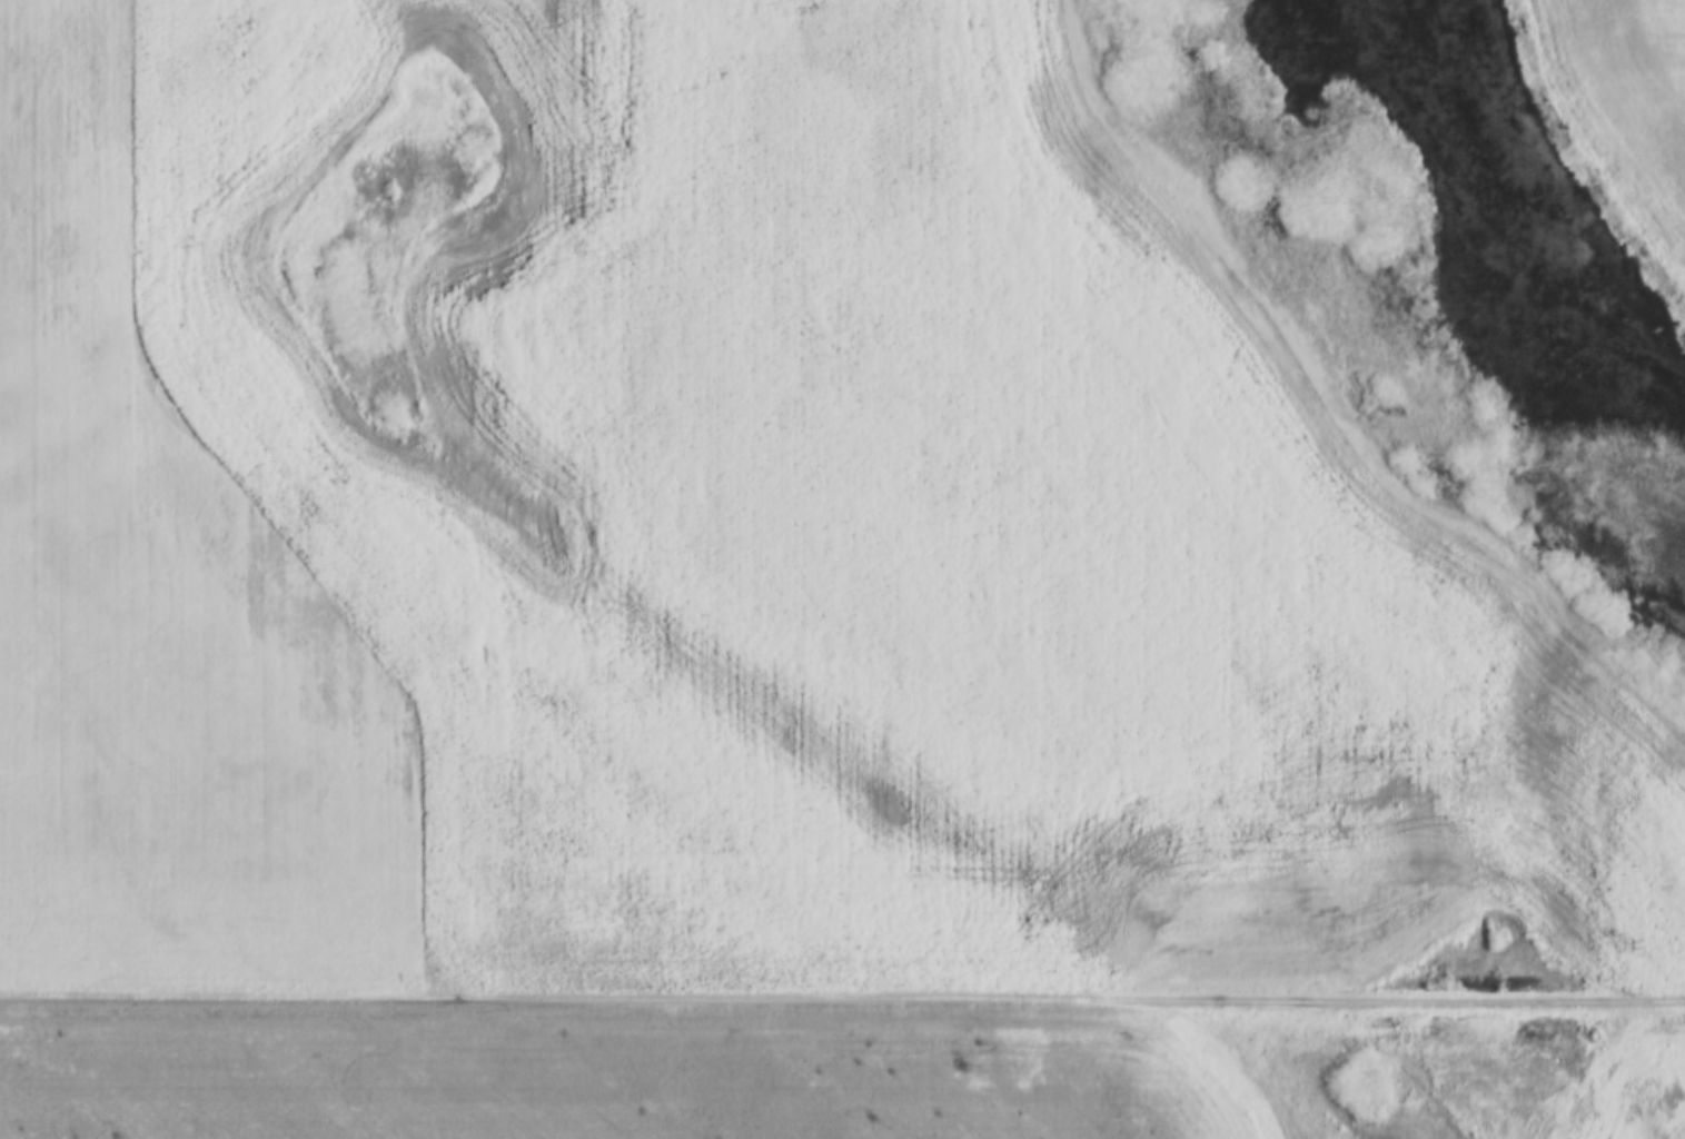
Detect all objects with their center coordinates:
crop: (1642, 73)
road: (842, 994)

